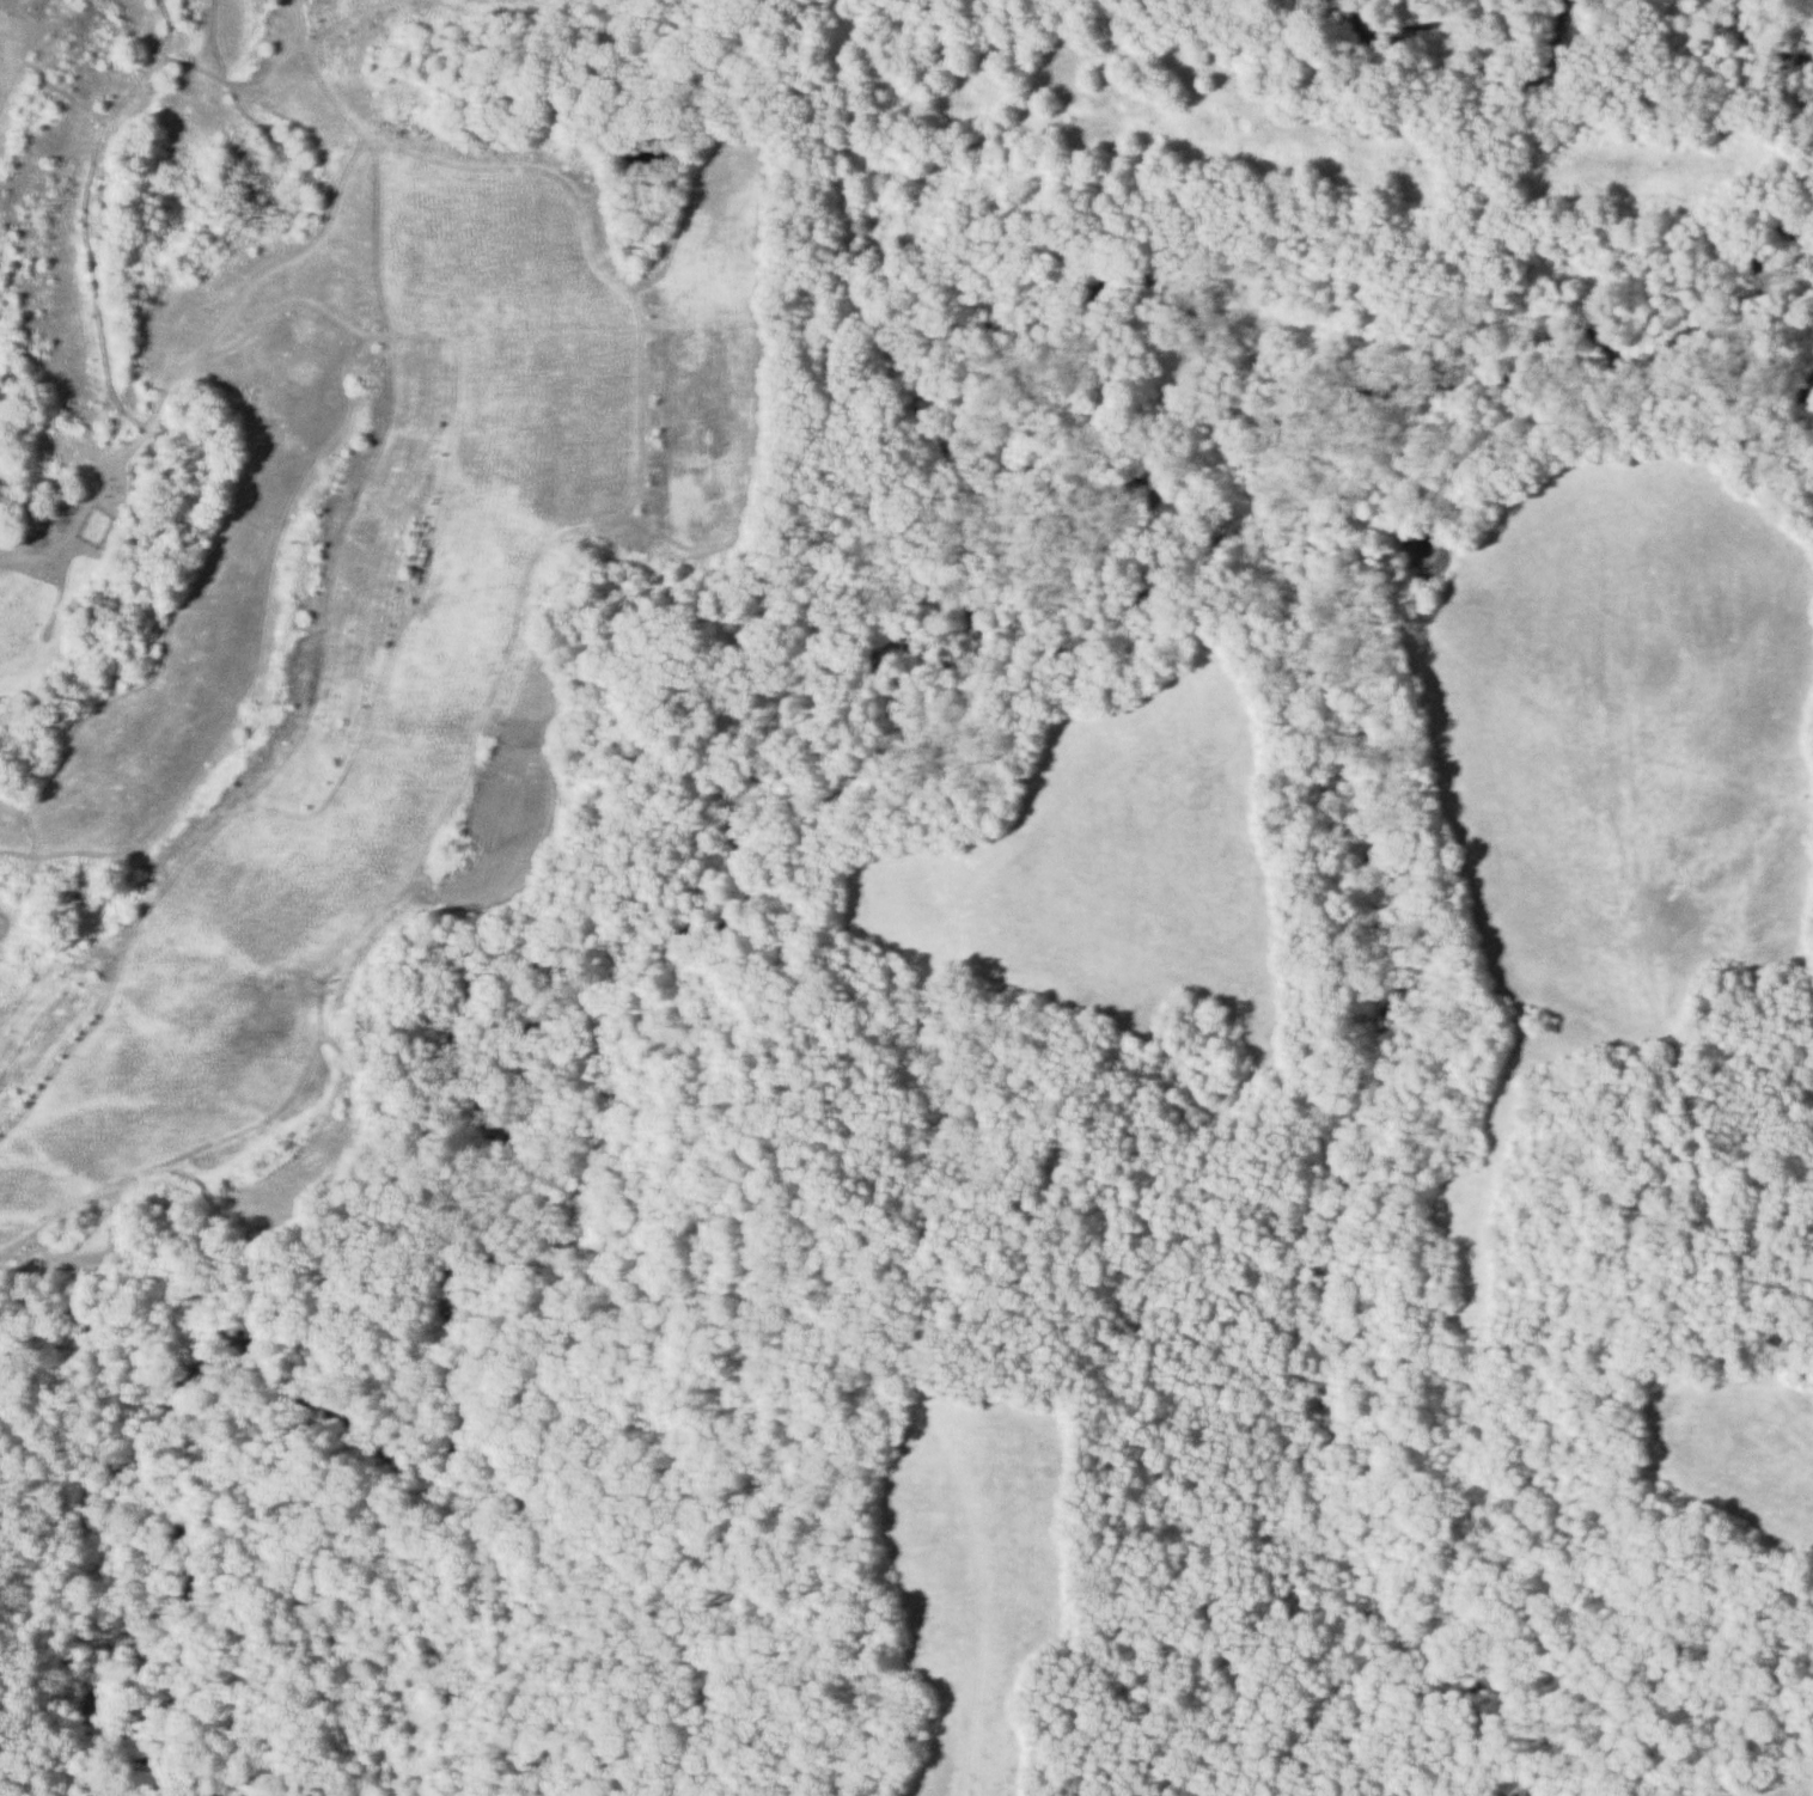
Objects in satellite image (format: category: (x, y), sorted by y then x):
road: (989, 1592)

